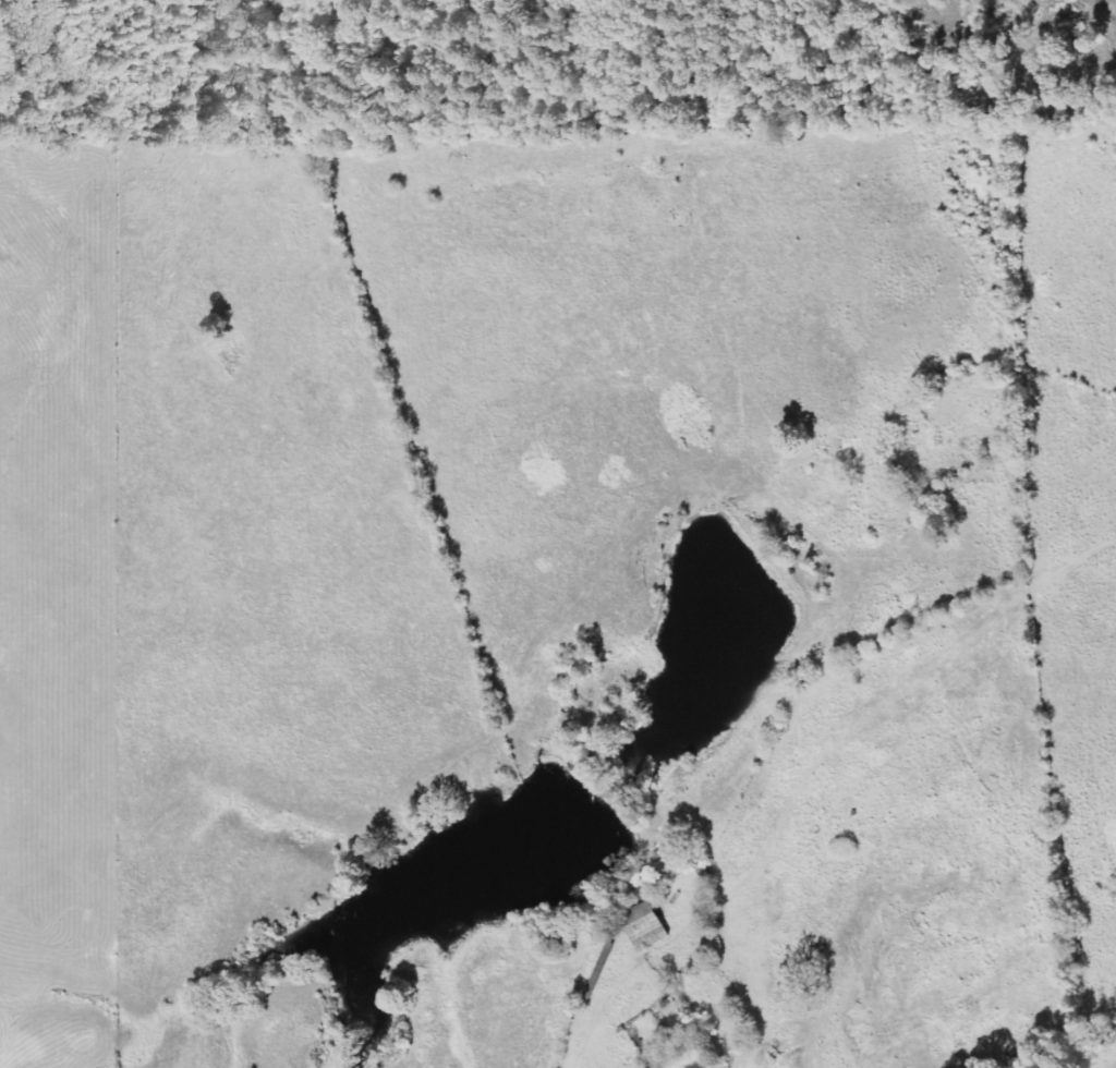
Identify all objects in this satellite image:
building: (646, 927)

